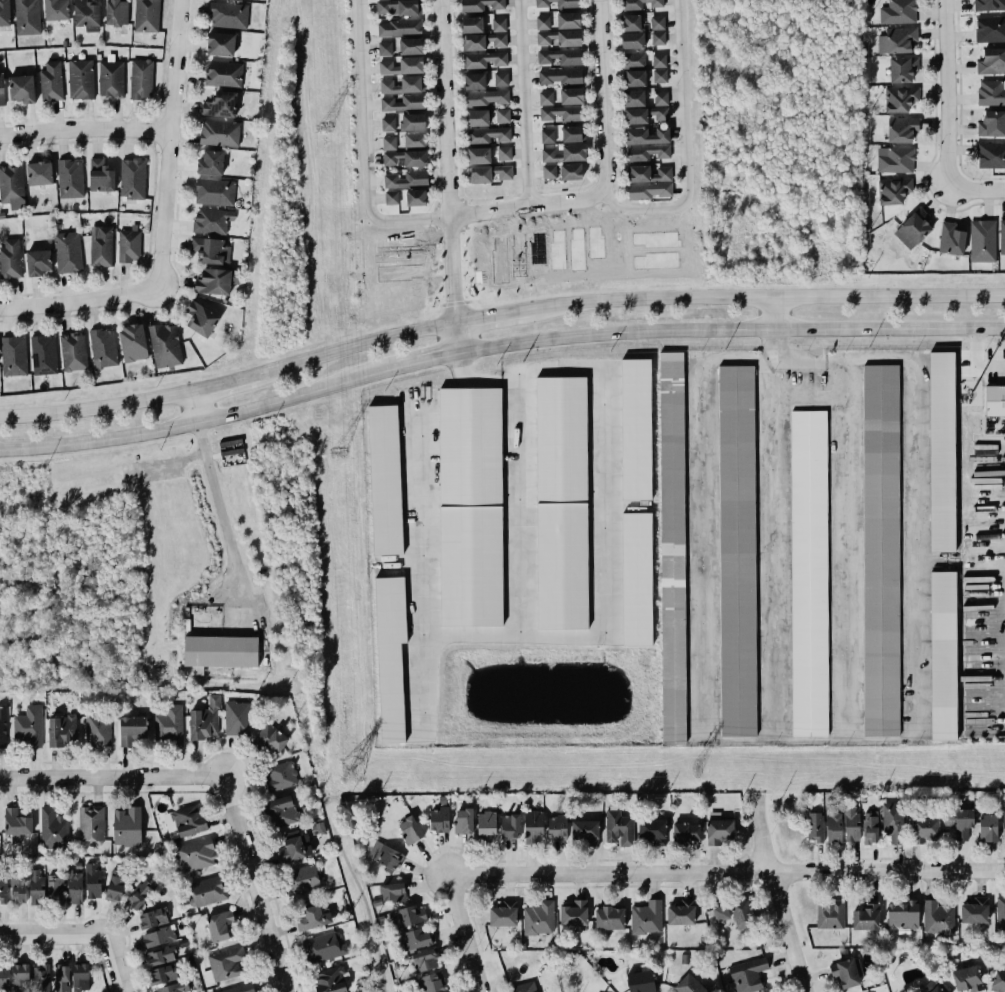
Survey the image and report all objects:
building: (558, 3)
building: (639, 4)
building: (988, 4)
building: (483, 5)
building: (398, 7)
building: (55, 10)
building: (84, 10)
building: (897, 11)
building: (115, 12)
building: (5, 14)
building: (229, 15)
building: (144, 16)
building: (25, 17)
building: (568, 21)
building: (543, 23)
building: (631, 23)
building: (657, 23)
building: (472, 25)
building: (498, 26)
building: (399, 28)
building: (988, 28)
building: (656, 37)
building: (632, 39)
building: (896, 39)
building: (561, 40)
building: (483, 42)
building: (220, 45)
building: (410, 46)
building: (385, 49)
building: (561, 57)
building: (485, 60)
building: (634, 60)
building: (659, 60)
building: (991, 62)
building: (401, 65)
building: (901, 68)
building: (224, 74)
building: (563, 75)
building: (660, 76)
building: (633, 77)
building: (81, 79)
building: (111, 79)
building: (140, 80)
building: (474, 81)
building: (51, 82)
building: (402, 84)
building: (21, 90)
building: (1, 91)
building: (991, 93)
road: (946, 95)
building: (571, 96)
road: (602, 96)
building: (487, 98)
building: (546, 98)
building: (634, 98)
building: (661, 98)
building: (899, 98)
building: (403, 102)
road: (522, 103)
building: (221, 106)
building: (561, 113)
building: (643, 113)
building: (489, 117)
building: (404, 123)
building: (992, 124)
building: (900, 127)
power tower: (323, 128)
road: (84, 129)
building: (219, 133)
building: (486, 134)
building: (571, 134)
building: (548, 136)
building: (647, 136)
building: (415, 140)
road: (169, 143)
building: (389, 143)
road: (682, 146)
road: (364, 148)
building: (648, 152)
building: (503, 153)
building: (478, 154)
building: (565, 154)
building: (991, 156)
building: (405, 157)
building: (894, 158)
road: (447, 162)
building: (210, 164)
building: (487, 172)
building: (549, 172)
building: (571, 172)
building: (38, 173)
building: (648, 173)
building: (101, 177)
building: (132, 179)
building: (407, 179)
building: (70, 180)
building: (10, 184)
building: (647, 189)
building: (893, 190)
building: (215, 191)
road: (976, 191)
building: (416, 196)
building: (392, 198)
road: (525, 207)
building: (211, 221)
building: (911, 230)
building: (1002, 237)
building: (951, 240)
building: (981, 240)
building: (100, 247)
building: (129, 247)
building: (206, 248)
building: (67, 252)
building: (9, 258)
building: (37, 261)
building: (217, 280)
road: (777, 297)
road: (80, 303)
road: (773, 311)
road: (501, 316)
building: (200, 318)
road: (889, 324)
road: (612, 328)
road: (453, 339)
building: (133, 343)
road: (355, 344)
building: (165, 345)
building: (103, 348)
building: (73, 352)
building: (42, 354)
building: (14, 356)
road: (425, 359)
road: (226, 382)
building: (995, 401)
road: (195, 407)
road: (95, 409)
road: (200, 421)
building: (633, 428)
building: (940, 451)
power tower: (338, 454)
building: (558, 501)
road: (218, 503)
building: (468, 505)
building: (670, 544)
building: (736, 550)
road: (844, 550)
building: (879, 550)
road: (764, 551)
building: (807, 572)
building: (635, 578)
building: (219, 651)
building: (942, 655)
building: (237, 718)
building: (204, 719)
building: (169, 724)
building: (2, 725)
building: (28, 726)
building: (60, 729)
building: (130, 729)
building: (97, 731)
building: (271, 739)
road: (853, 739)
power tower: (349, 771)
building: (279, 775)
power tower: (693, 775)
road: (111, 776)
road: (332, 799)
building: (281, 810)
building: (439, 820)
building: (463, 821)
building: (892, 821)
building: (16, 822)
building: (189, 822)
building: (1003, 822)
building: (851, 823)
building: (963, 823)
building: (91, 824)
building: (485, 825)
building: (533, 825)
building: (510, 826)
building: (813, 826)
building: (127, 827)
building: (870, 827)
building: (987, 827)
building: (557, 828)
building: (618, 828)
building: (923, 828)
building: (52, 829)
building: (412, 829)
building: (719, 829)
building: (683, 830)
building: (585, 831)
building: (651, 831)
building: (832, 831)
road: (756, 833)
building: (292, 848)
building: (195, 854)
building: (384, 855)
road: (722, 871)
building: (302, 879)
building: (93, 881)
road: (253, 884)
building: (74, 886)
building: (114, 886)
building: (36, 887)
building: (54, 888)
building: (12, 889)
building: (204, 891)
building: (393, 892)
park: (356, 893)
building: (138, 894)
road: (365, 904)
building: (974, 910)
building: (680, 912)
building: (1000, 912)
building: (829, 913)
building: (318, 914)
building: (504, 914)
building: (574, 914)
building: (736, 914)
building: (902, 914)
building: (866, 917)
building: (539, 918)
building: (608, 918)
building: (647, 918)
building: (937, 918)
building: (151, 919)
building: (219, 925)
road: (783, 931)
road: (457, 933)
building: (159, 936)
road: (80, 937)
building: (416, 939)
building: (322, 947)
building: (161, 956)
building: (424, 959)
building: (226, 963)
building: (847, 973)
building: (162, 975)
building: (748, 975)
building: (20, 976)
building: (60, 977)
building: (80, 977)
building: (4, 978)
building: (968, 979)
building: (998, 979)
building: (331, 980)
building: (640, 981)
building: (430, 983)
building: (688, 985)
building: (524, 987)
building: (173, 988)
building: (239, 988)
building: (936, 989)

